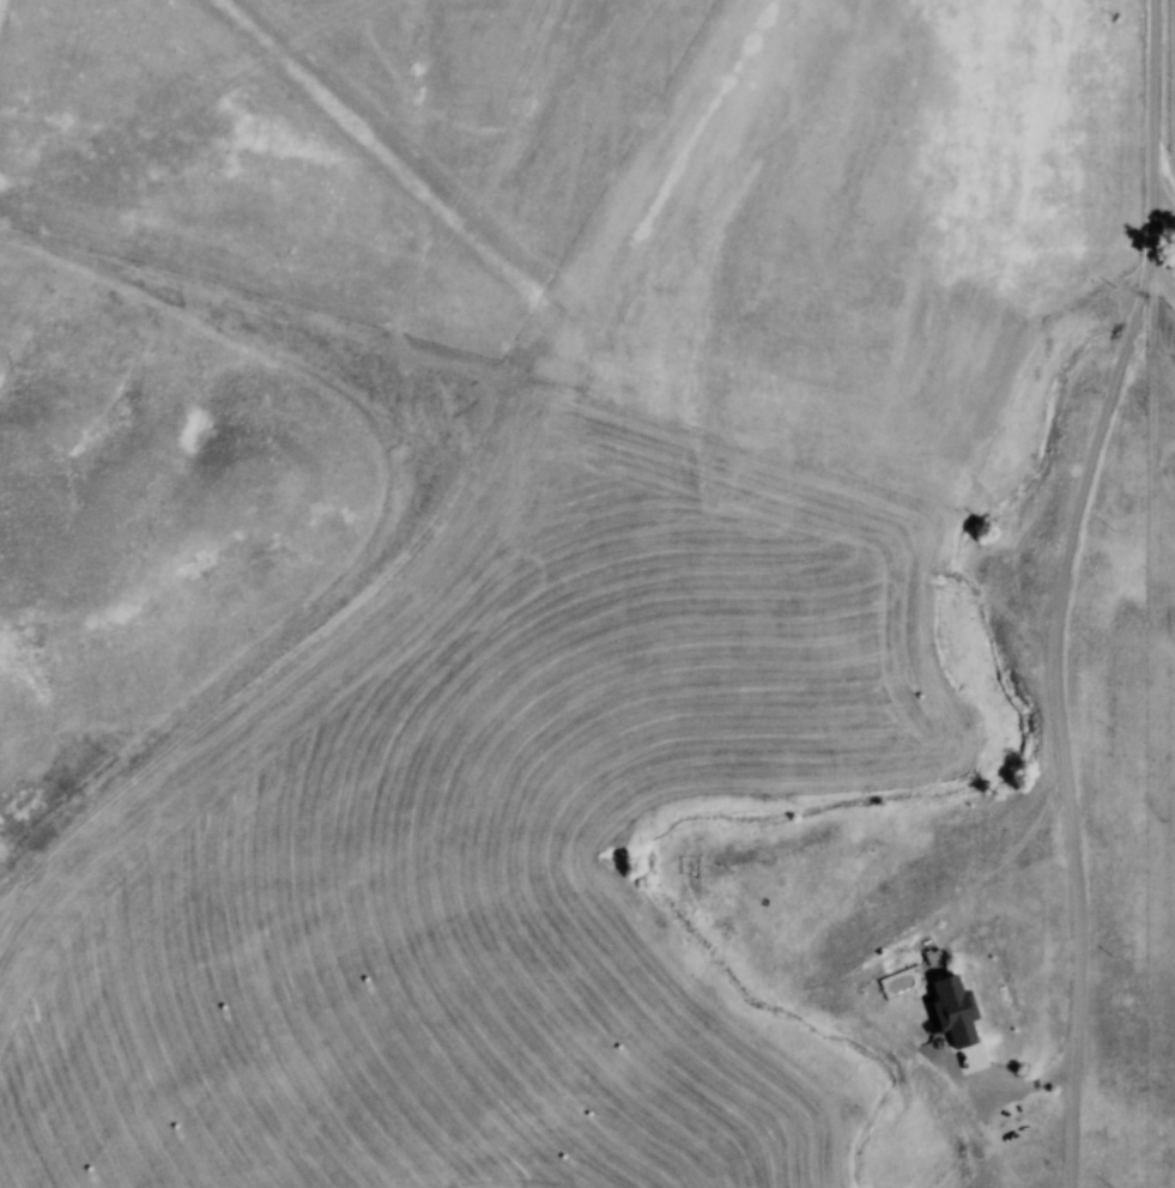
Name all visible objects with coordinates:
road: (1153, 105)

